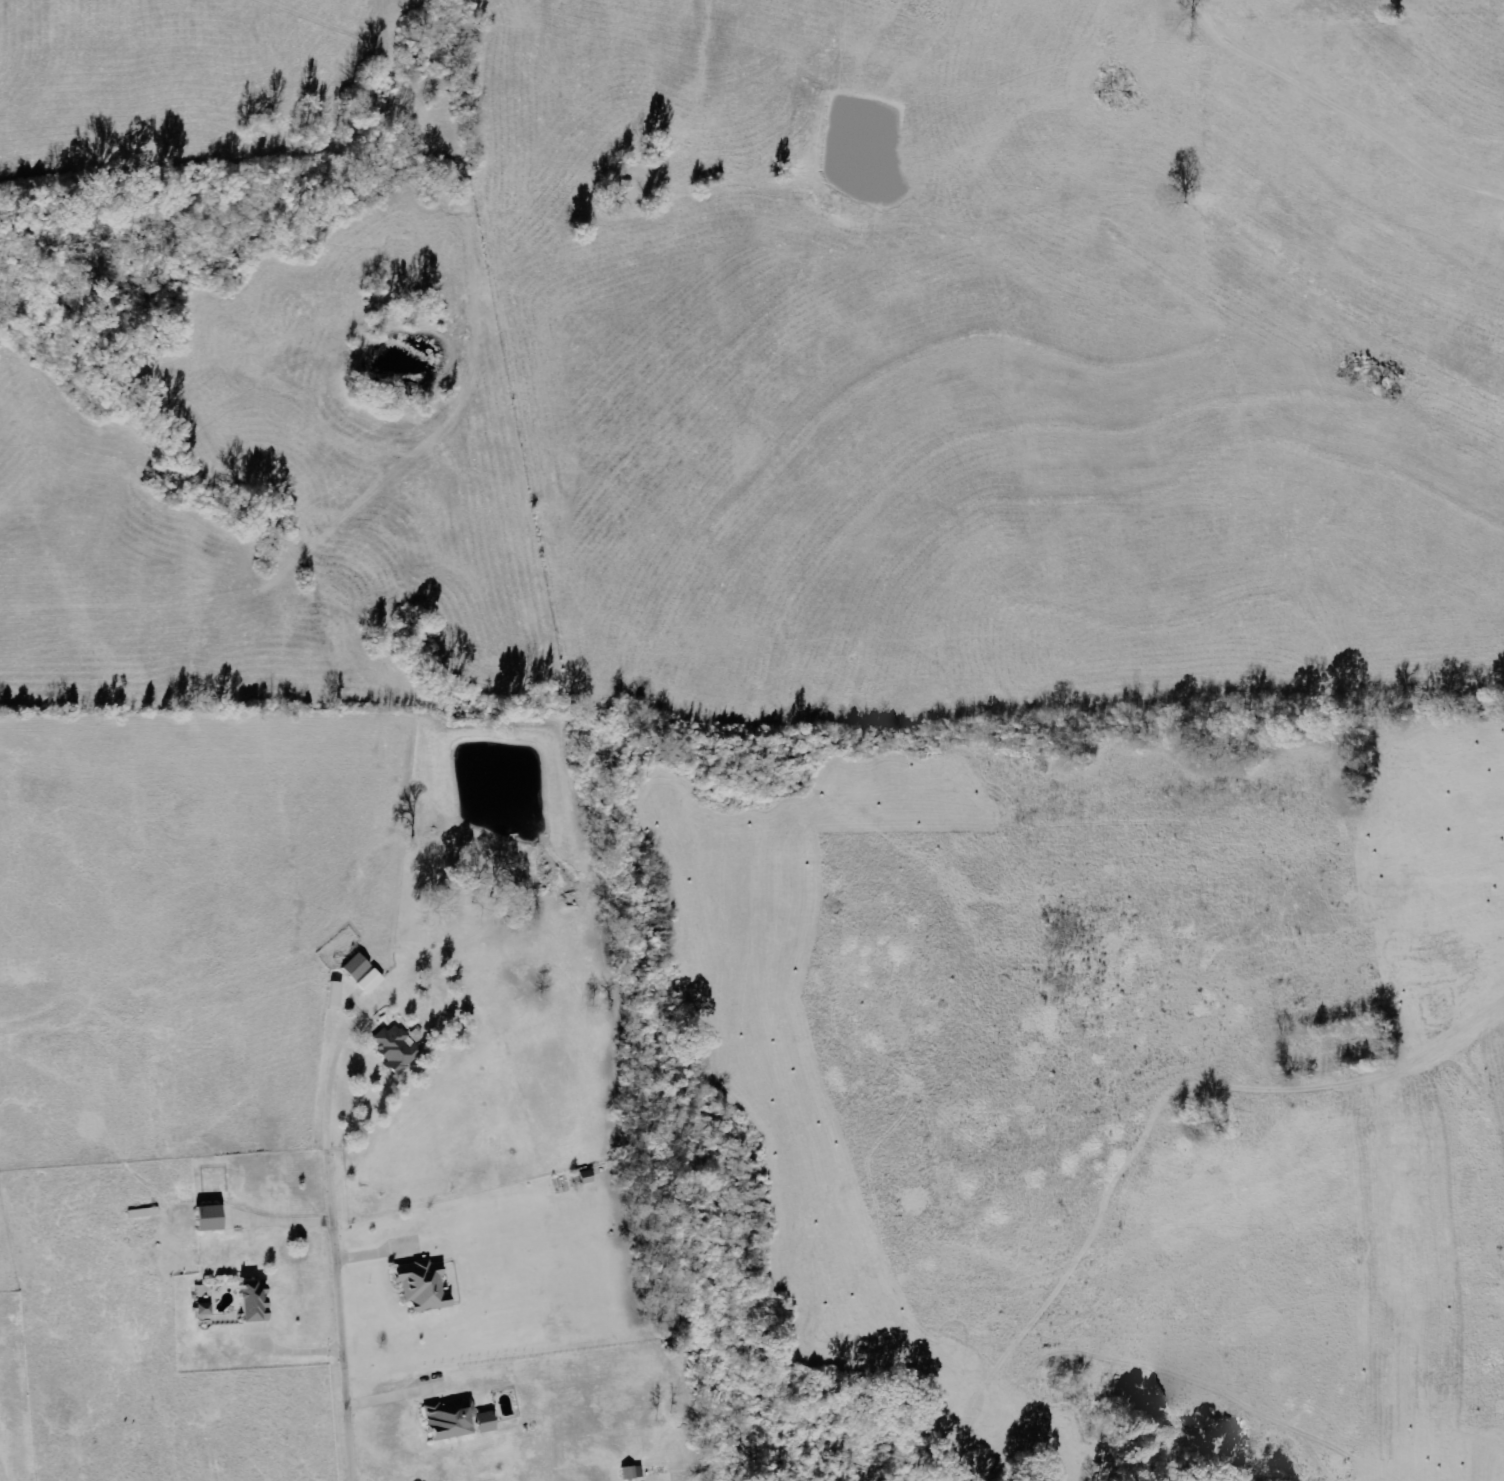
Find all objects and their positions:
building: (354, 968)
building: (368, 982)
building: (334, 996)
building: (395, 1048)
building: (205, 1217)
building: (420, 1286)
road: (334, 1292)
building: (250, 1301)
building: (201, 1308)
building: (453, 1421)
building: (630, 1472)

